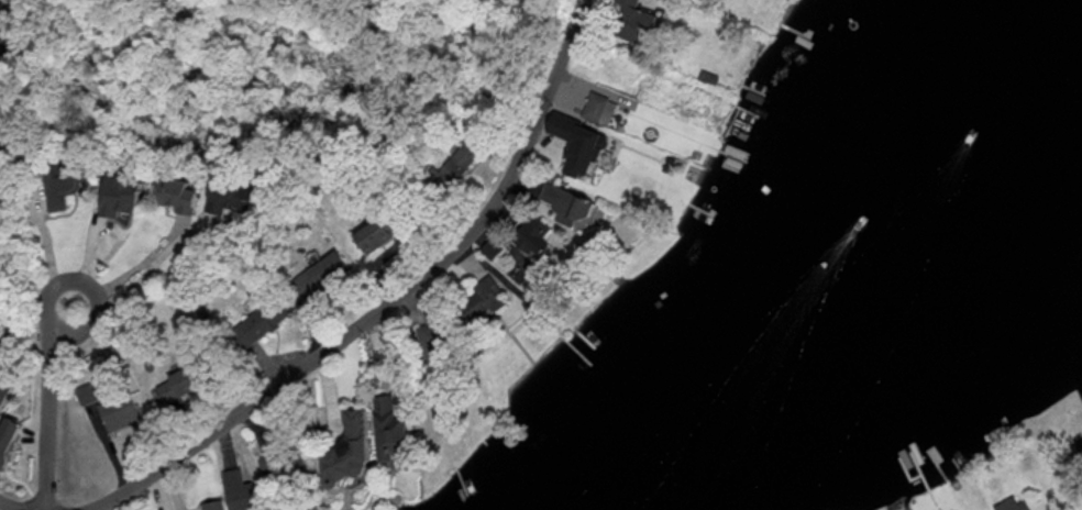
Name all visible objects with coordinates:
building: (631, 22)
building: (0, 31)
road: (4, 84)
building: (605, 104)
building: (577, 143)
building: (456, 162)
building: (60, 182)
building: (173, 192)
building: (117, 193)
building: (222, 197)
building: (566, 202)
building: (374, 232)
building: (532, 234)
road: (46, 247)
river: (792, 255)
road: (132, 268)
building: (318, 274)
road: (391, 301)
building: (479, 301)
building: (252, 325)
building: (179, 381)
building: (4, 387)
building: (86, 392)
road: (46, 406)
building: (120, 411)
building: (389, 429)
building: (8, 436)
building: (349, 450)
building: (1077, 451)
building: (283, 464)
building: (240, 489)
building: (1012, 503)
building: (212, 505)
road: (7, 507)

